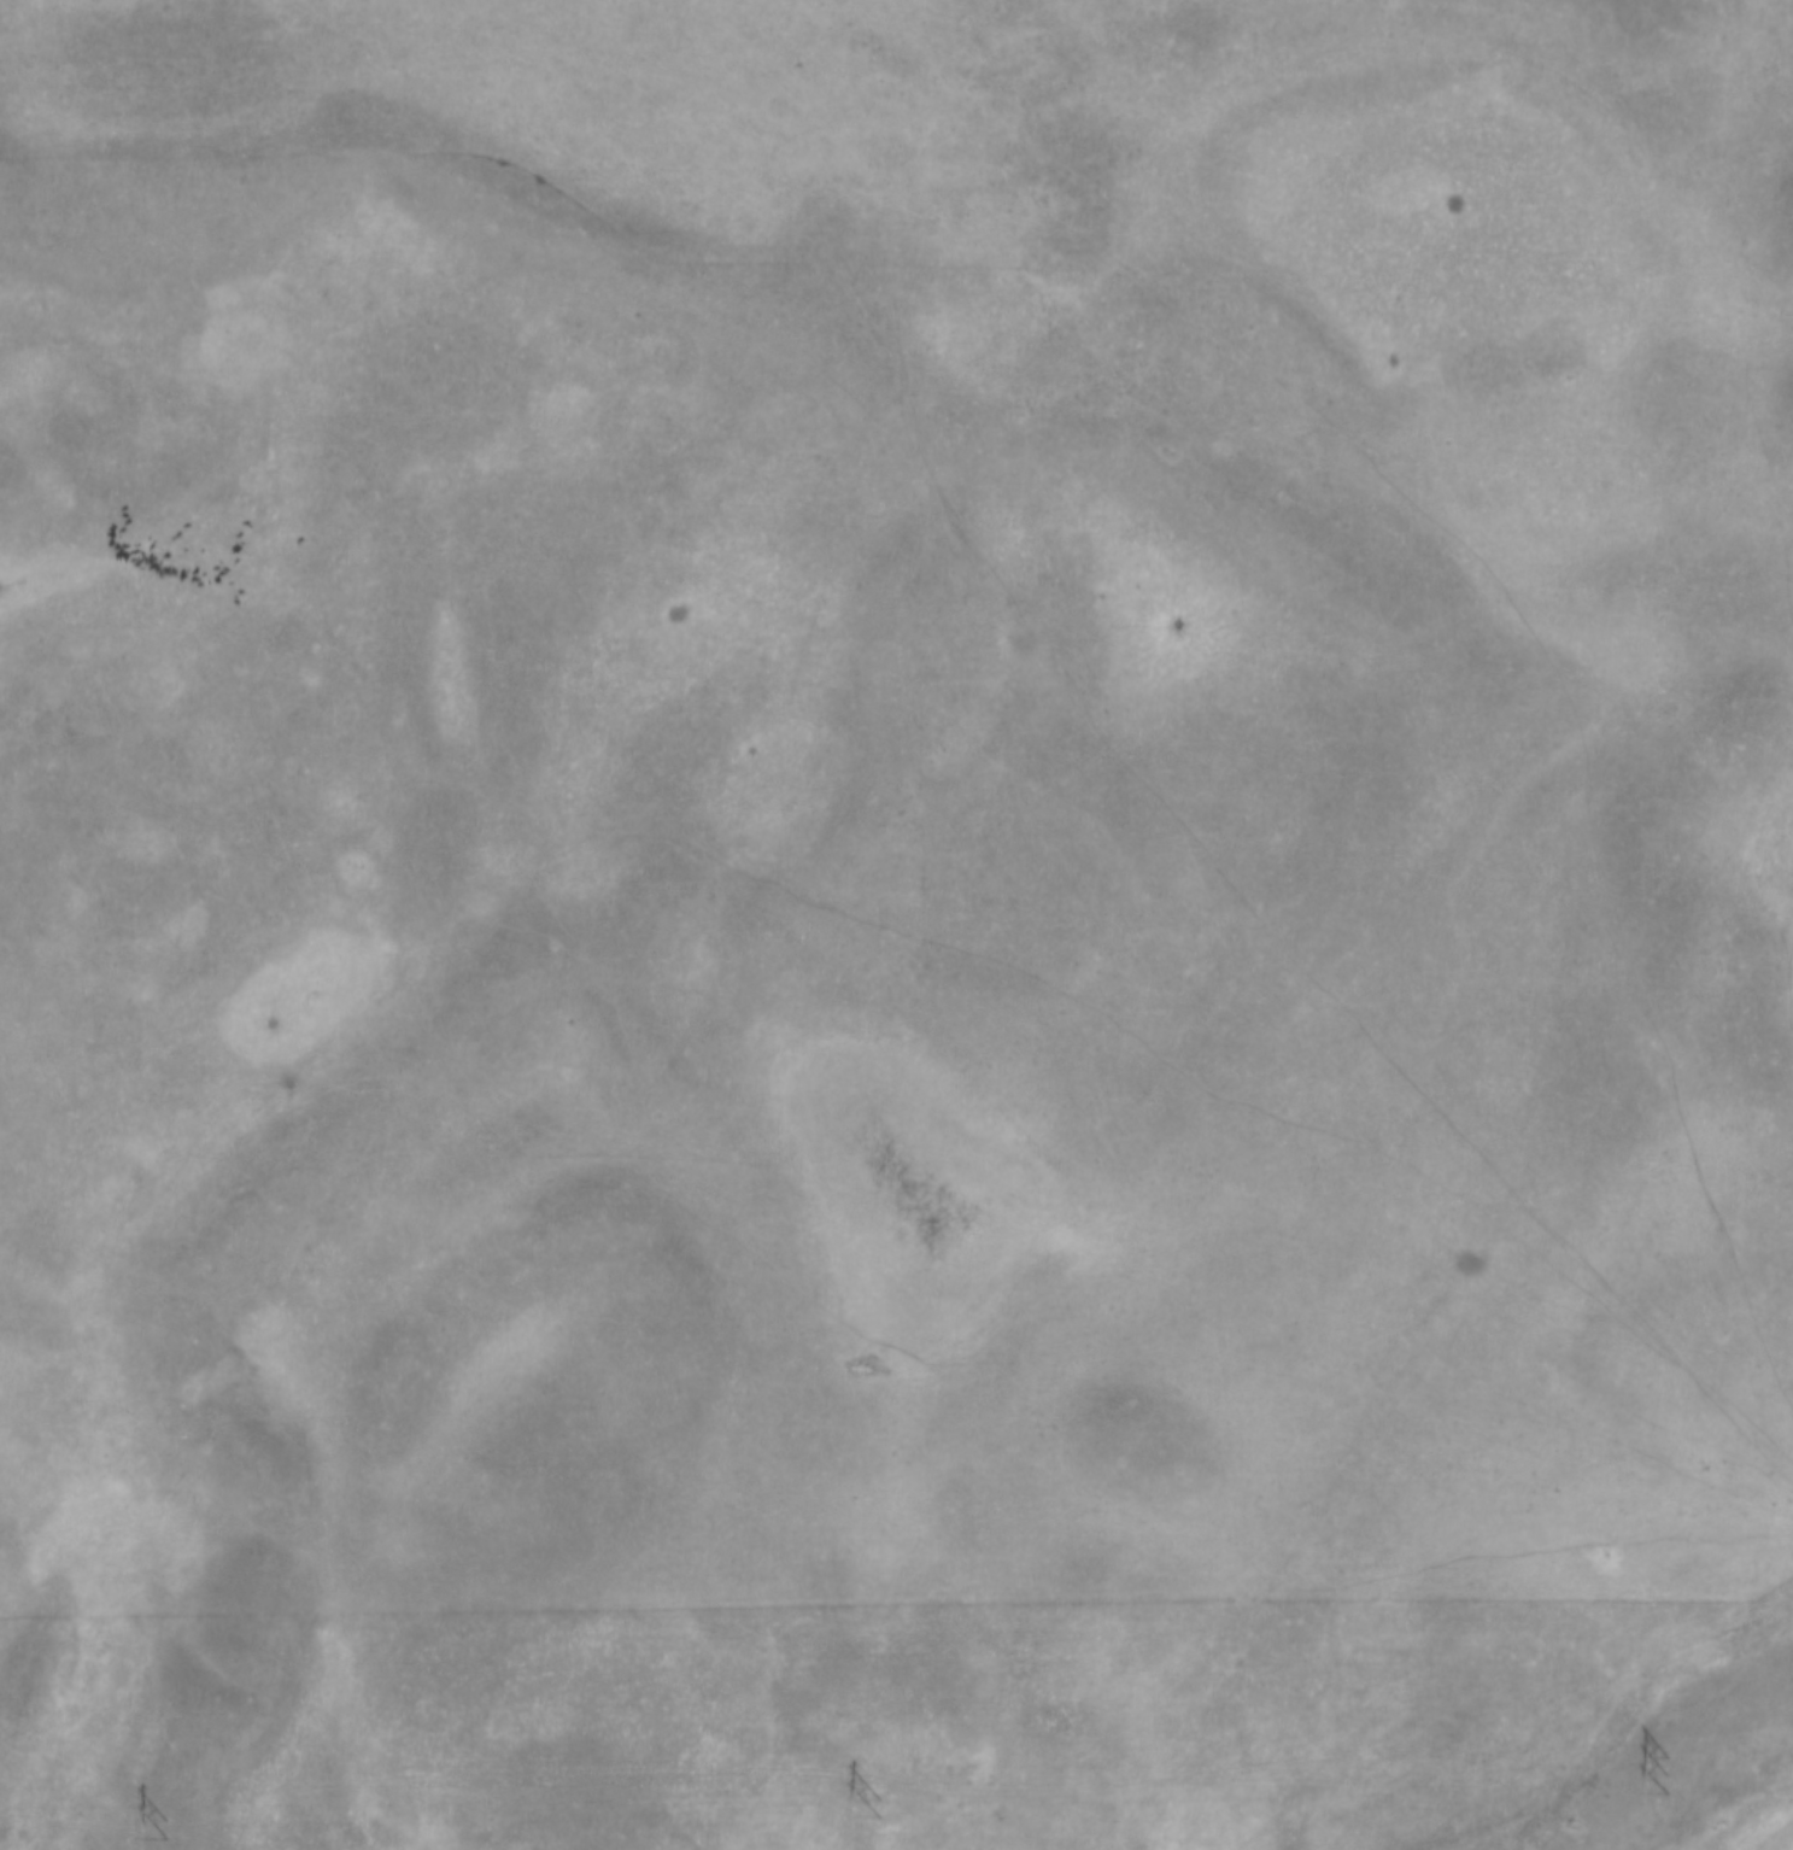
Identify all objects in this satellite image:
power tower: (1665, 1780)
power tower: (878, 1810)
power tower: (163, 1829)

